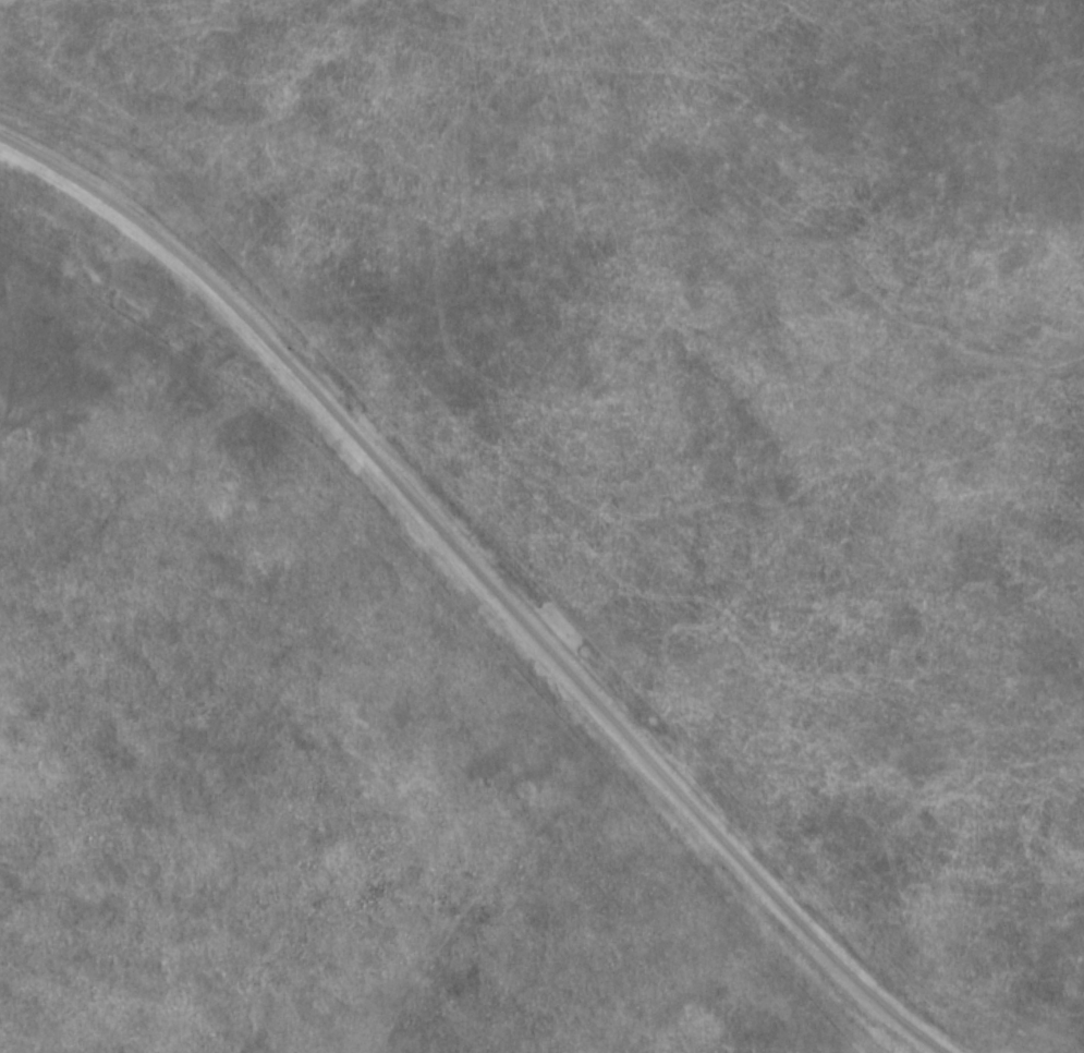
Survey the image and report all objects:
road: (483, 581)

